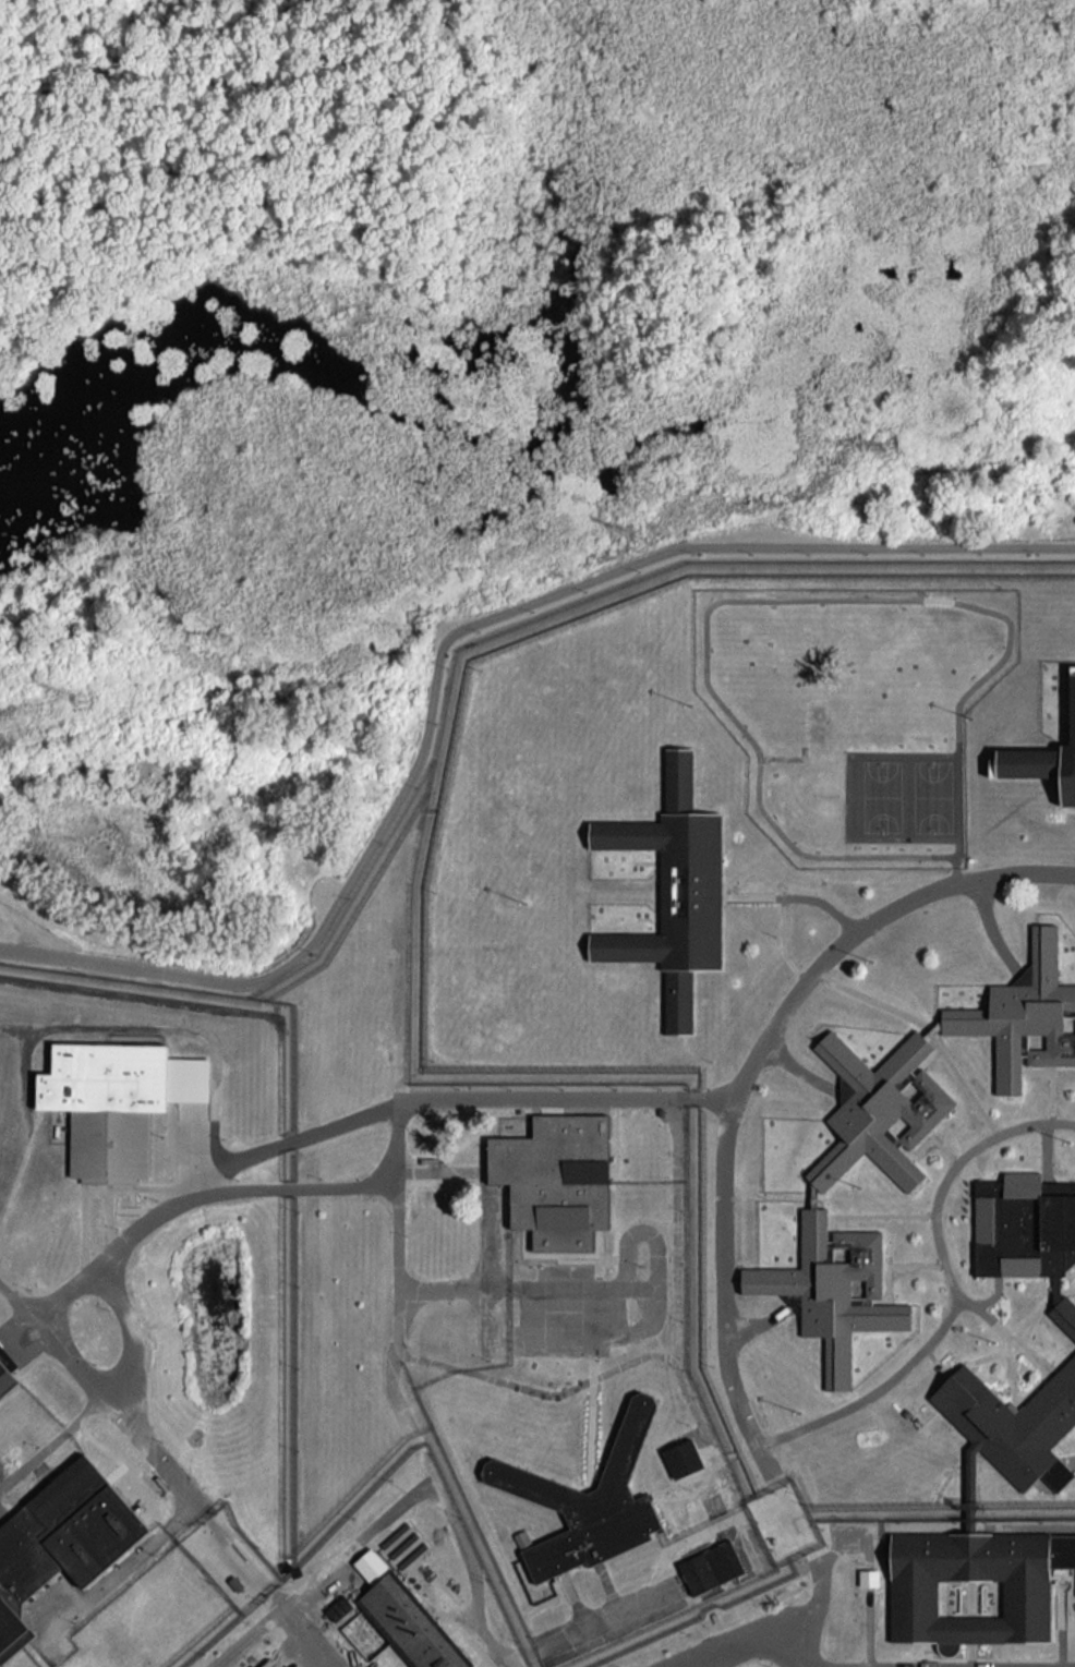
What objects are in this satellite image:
park: (486, 125)
power tower: (638, 534)
road: (436, 630)
power tower: (78, 698)
building: (1041, 753)
building: (671, 894)
building: (1025, 1013)
building: (117, 1099)
building: (877, 1106)
building: (553, 1172)
building: (1023, 1222)
building: (832, 1289)
building: (1065, 1315)
building: (4, 1377)
building: (1012, 1424)
building: (684, 1455)
building: (585, 1497)
building: (522, 1537)
road: (366, 1538)
building: (711, 1566)
building: (21, 1568)
building: (869, 1577)
building: (1027, 1594)
building: (406, 1616)
road: (761, 1633)
road: (311, 1635)

